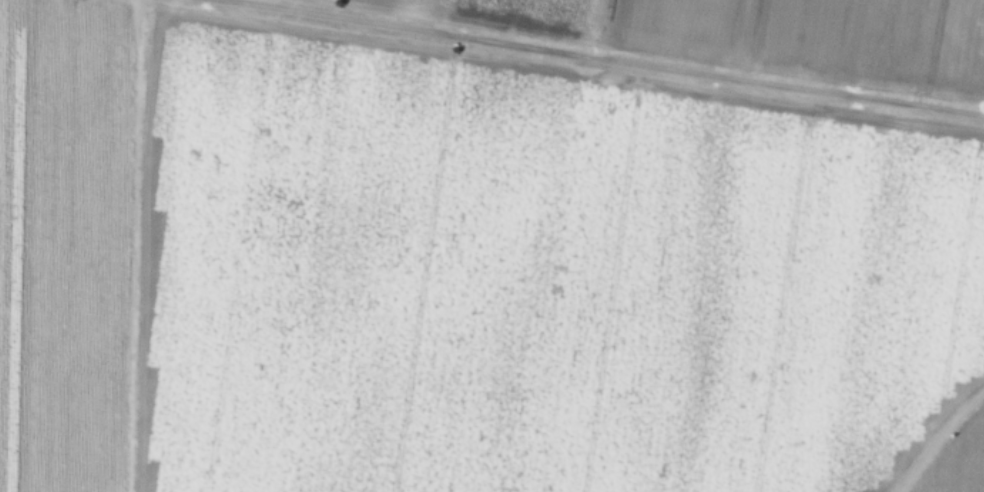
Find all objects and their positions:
road: (613, 59)
crop: (492, 246)

